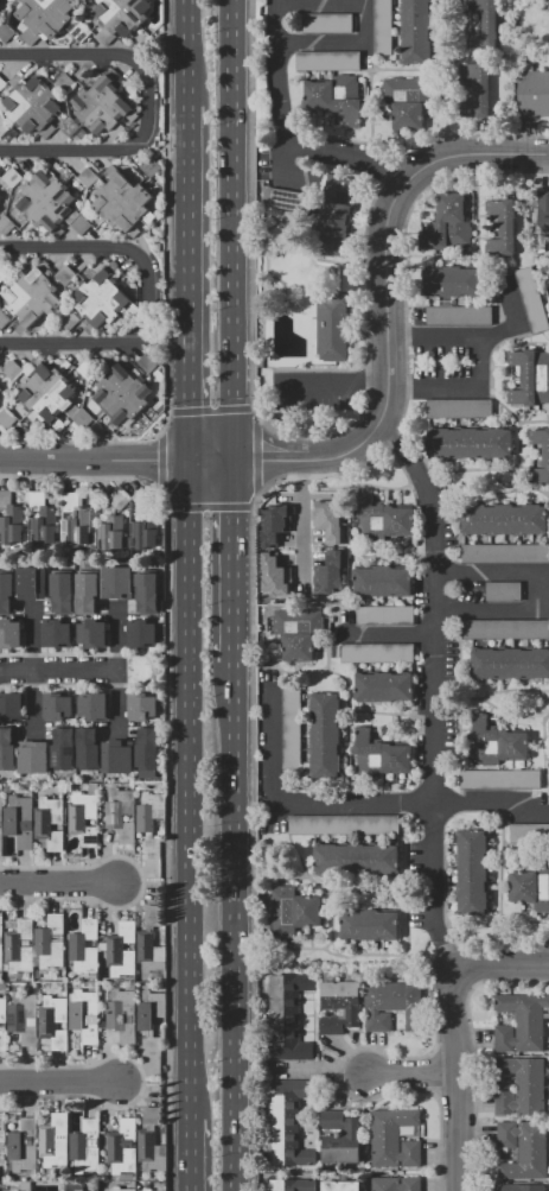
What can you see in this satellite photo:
building: (0, 7)
building: (545, 7)
building: (44, 18)
building: (120, 18)
building: (326, 24)
building: (484, 25)
building: (382, 27)
building: (415, 31)
building: (5, 32)
building: (81, 32)
road: (356, 43)
road: (190, 51)
road: (70, 53)
building: (327, 61)
building: (64, 82)
building: (1, 83)
building: (534, 93)
building: (480, 94)
building: (336, 97)
building: (409, 100)
building: (33, 106)
building: (102, 107)
building: (69, 126)
building: (4, 127)
road: (116, 151)
road: (330, 154)
building: (149, 167)
building: (11, 177)
building: (87, 177)
building: (0, 199)
building: (288, 199)
building: (122, 201)
building: (52, 204)
building: (336, 204)
building: (543, 214)
building: (448, 224)
building: (5, 226)
building: (500, 226)
road: (234, 232)
road: (115, 246)
building: (2, 274)
building: (65, 275)
road: (189, 281)
building: (452, 281)
building: (32, 296)
building: (102, 299)
building: (531, 299)
building: (459, 316)
building: (4, 319)
road: (387, 325)
road: (511, 325)
building: (331, 328)
road: (70, 344)
road: (481, 360)
building: (147, 361)
building: (12, 368)
building: (88, 369)
building: (530, 376)
road: (332, 384)
building: (0, 389)
building: (47, 393)
building: (122, 394)
building: (459, 408)
building: (82, 418)
building: (6, 419)
building: (470, 444)
building: (541, 455)
road: (94, 461)
traffic signals: (189, 462)
traffic signals: (232, 463)
building: (142, 498)
building: (119, 500)
building: (42, 518)
building: (382, 518)
building: (11, 519)
building: (504, 519)
building: (74, 521)
building: (330, 521)
building: (273, 525)
road: (301, 525)
building: (110, 532)
building: (142, 536)
building: (505, 553)
road: (234, 563)
building: (330, 574)
building: (274, 577)
building: (383, 582)
building: (31, 583)
building: (117, 583)
building: (6, 593)
building: (62, 593)
building: (503, 593)
road: (538, 593)
building: (87, 594)
building: (146, 594)
building: (384, 615)
building: (505, 629)
building: (296, 632)
building: (9, 633)
building: (56, 633)
building: (92, 633)
building: (141, 633)
road: (387, 633)
building: (376, 653)
building: (509, 663)
road: (62, 670)
building: (382, 686)
road: (430, 690)
road: (503, 690)
road: (446, 703)
building: (141, 705)
building: (12, 707)
building: (57, 707)
building: (92, 707)
road: (504, 714)
building: (291, 728)
building: (548, 728)
building: (324, 734)
building: (496, 743)
building: (7, 748)
building: (63, 748)
building: (88, 748)
building: (147, 749)
building: (379, 755)
building: (116, 756)
building: (33, 758)
building: (548, 768)
building: (499, 779)
road: (189, 788)
road: (292, 805)
road: (494, 805)
building: (82, 812)
building: (120, 813)
building: (0, 821)
building: (19, 821)
building: (49, 822)
building: (148, 823)
building: (343, 824)
building: (529, 834)
building: (355, 859)
building: (472, 873)
road: (58, 882)
building: (530, 886)
building: (293, 911)
building: (1, 925)
building: (369, 925)
road: (238, 926)
building: (49, 942)
building: (149, 942)
building: (19, 945)
building: (83, 946)
building: (121, 950)
building: (0, 955)
road: (505, 964)
building: (391, 1005)
building: (339, 1007)
building: (2, 1011)
building: (84, 1014)
building: (121, 1014)
building: (23, 1016)
building: (287, 1016)
building: (149, 1020)
building: (52, 1021)
building: (522, 1022)
building: (2, 1039)
road: (457, 1072)
road: (411, 1073)
road: (57, 1082)
building: (521, 1087)
building: (287, 1122)
building: (339, 1138)
building: (1, 1139)
building: (394, 1139)
building: (53, 1140)
building: (149, 1141)
building: (23, 1144)
road: (205, 1144)
building: (84, 1146)
building: (123, 1147)
building: (523, 1149)
road: (189, 1154)
building: (396, 1184)
building: (293, 1185)
building: (76, 1186)
building: (340, 1186)
building: (519, 1187)
building: (121, 1189)
building: (147, 1190)

